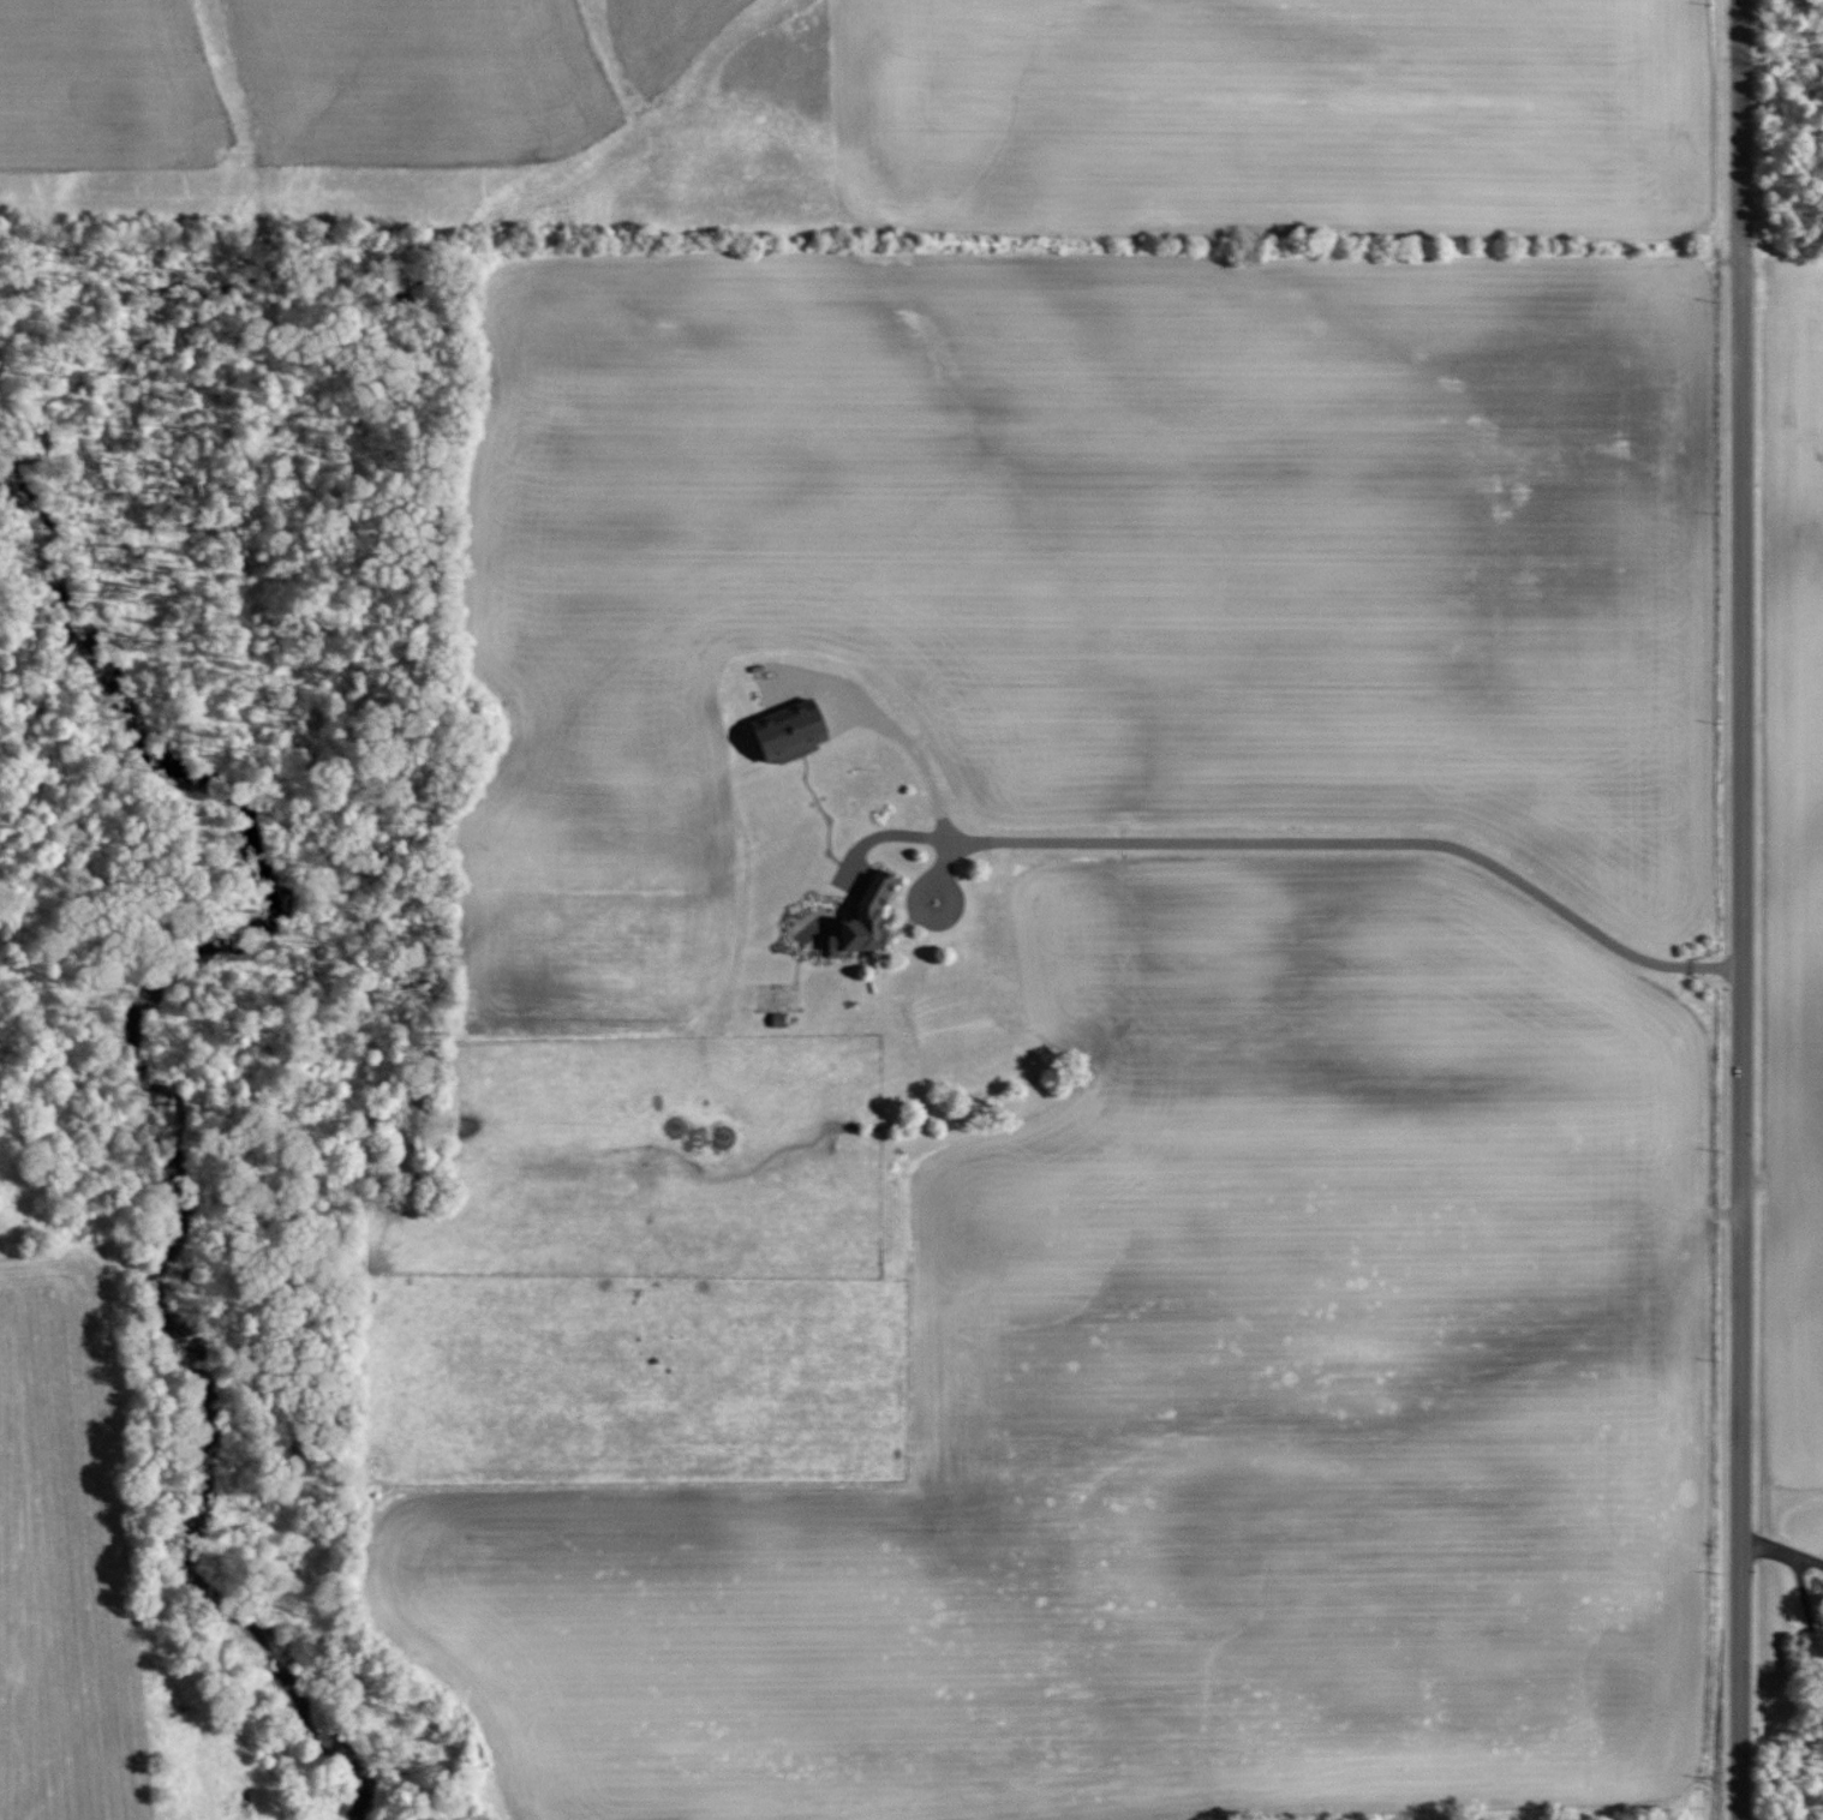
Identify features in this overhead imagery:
road: (1775, 212)
road: (890, 726)
building: (783, 734)
road: (1341, 843)
road: (920, 891)
road: (1741, 909)
road: (1764, 1549)
road: (1809, 1559)
road: (1805, 1608)

